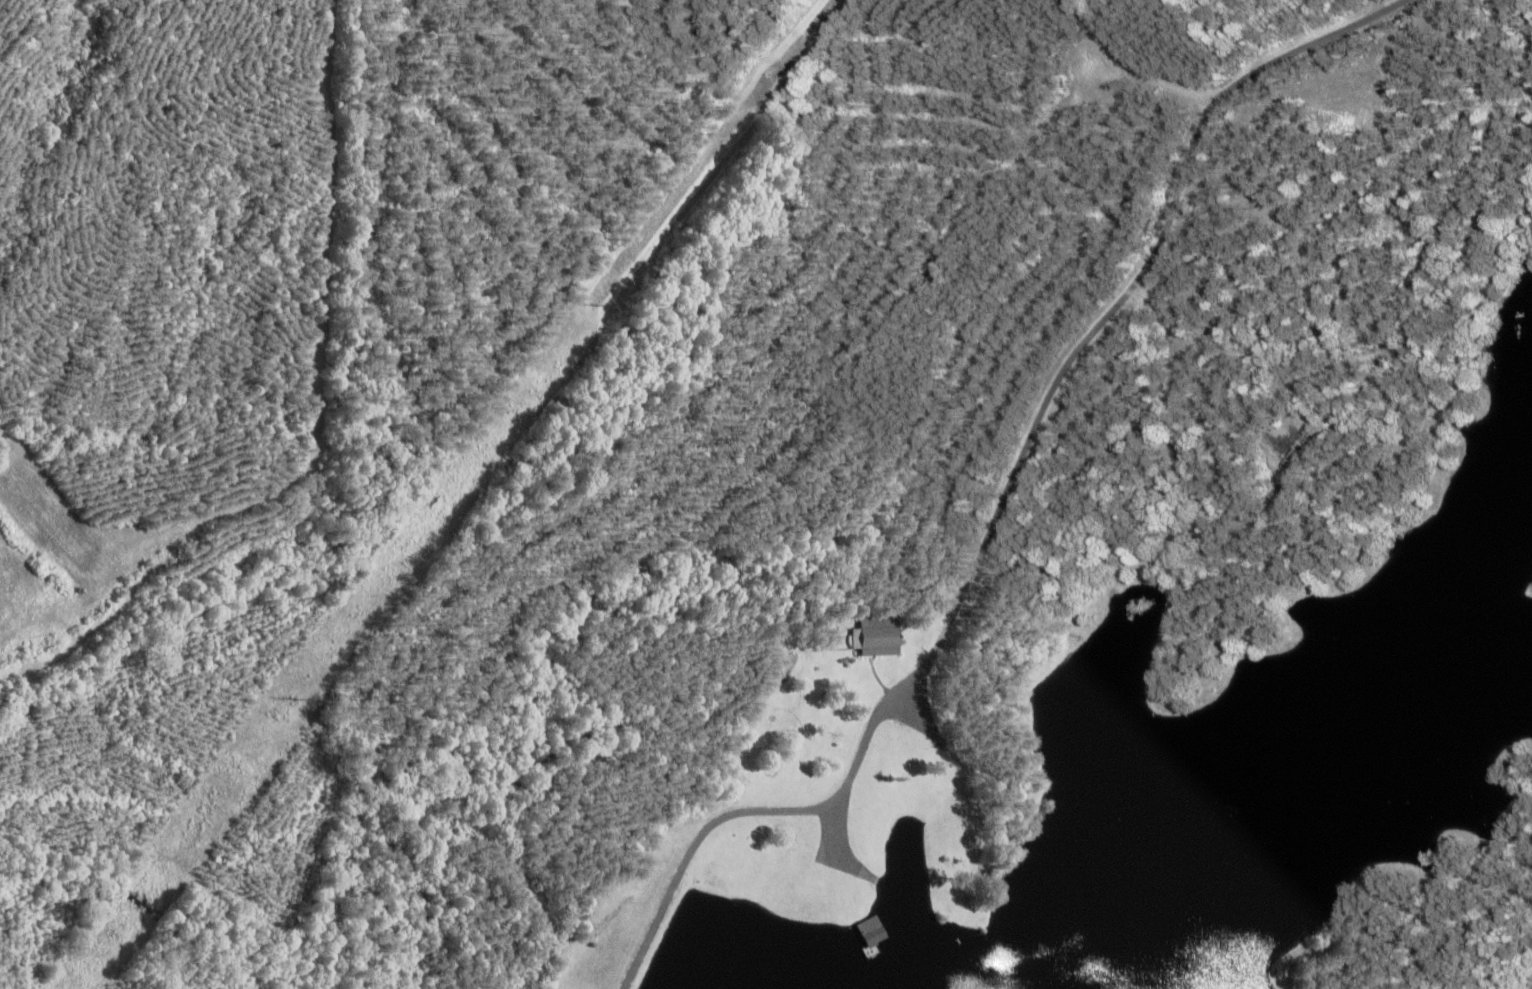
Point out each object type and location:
road: (746, 535)
building: (877, 638)
building: (1017, 872)
building: (869, 940)

